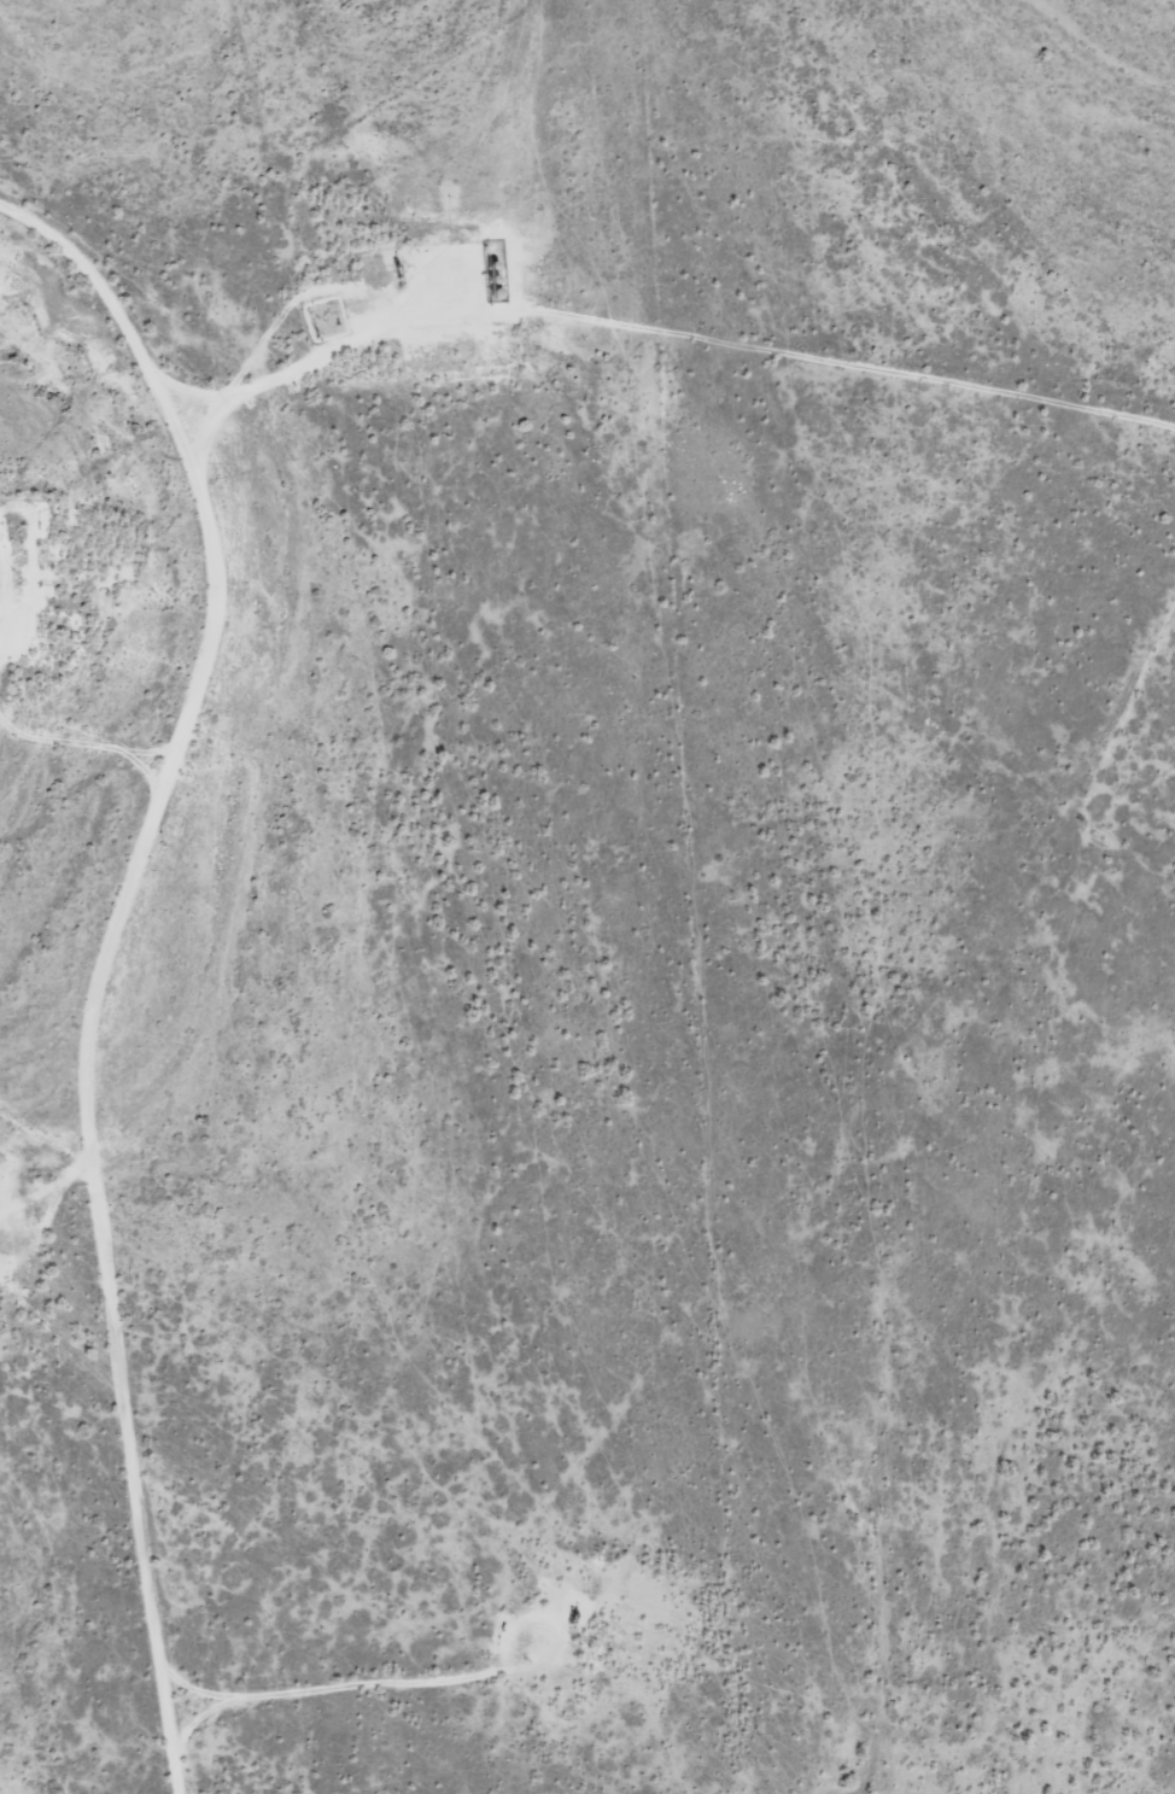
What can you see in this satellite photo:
road: (146, 957)
road: (206, 1510)

